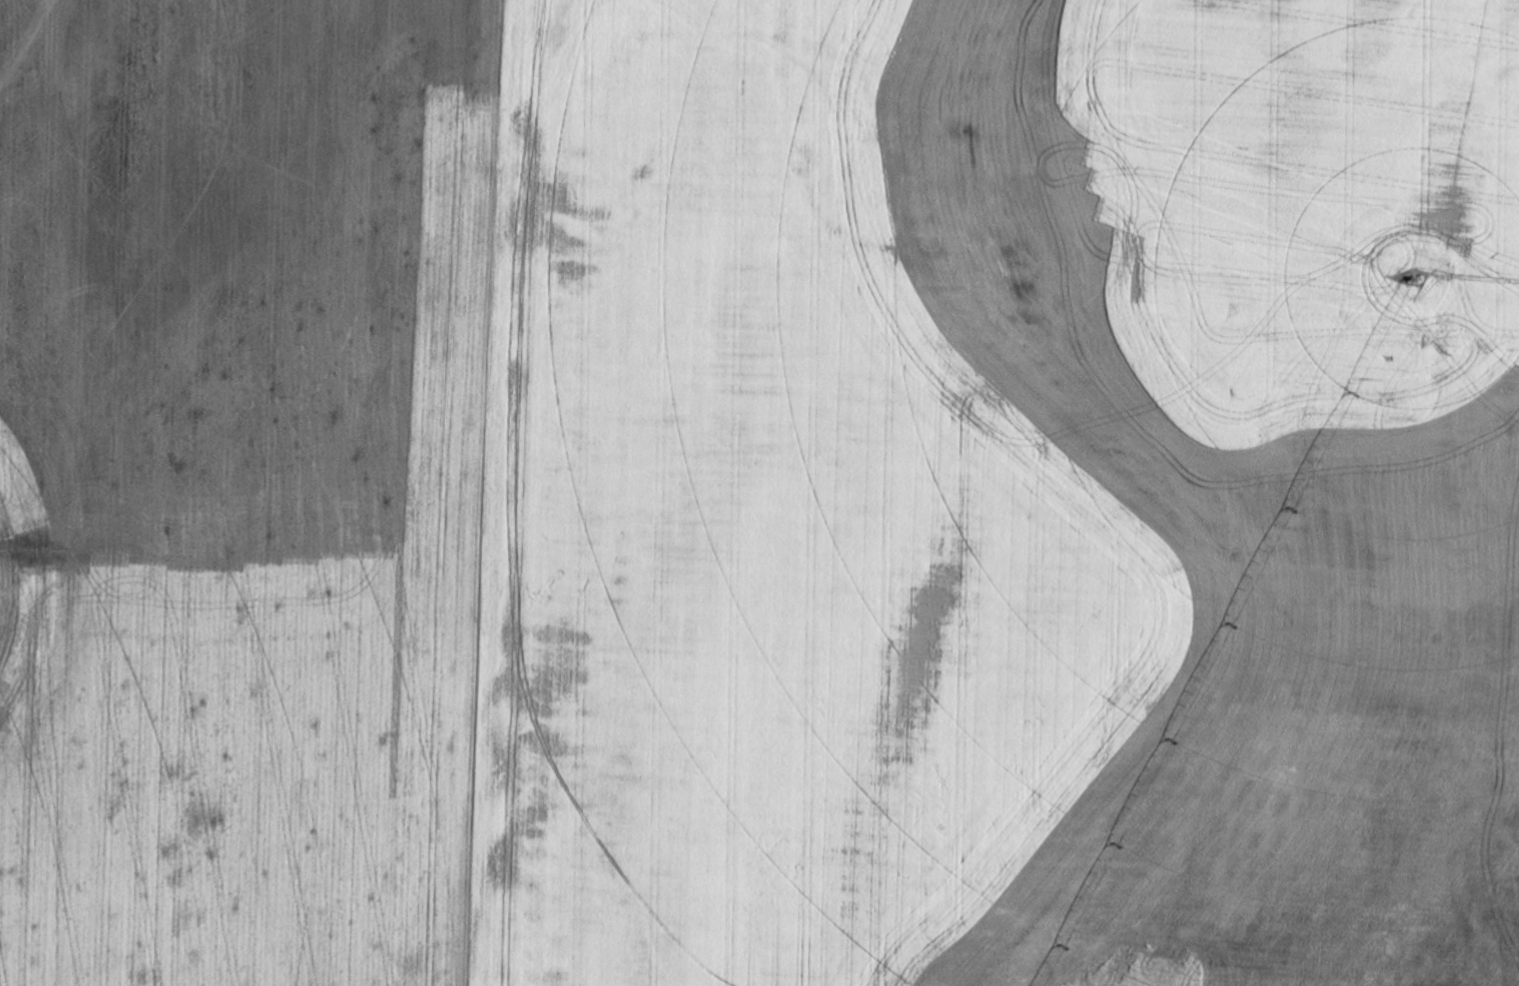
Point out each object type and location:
road: (1257, 157)
road: (525, 492)

